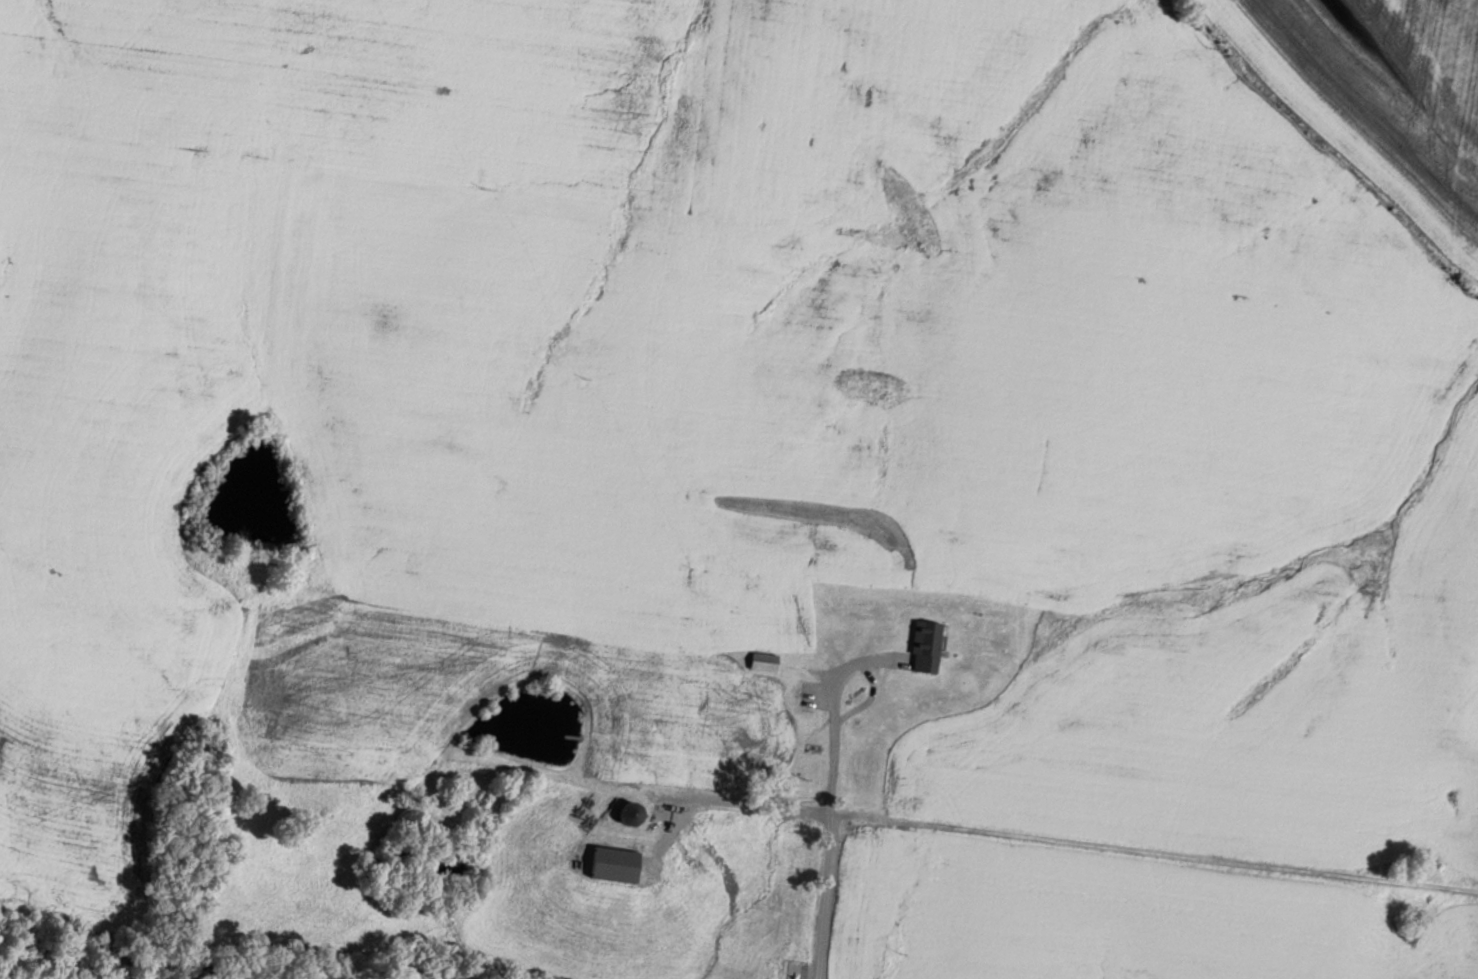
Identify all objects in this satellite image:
building: (766, 661)
building: (865, 766)
building: (635, 813)
building: (619, 863)
road: (1124, 914)

